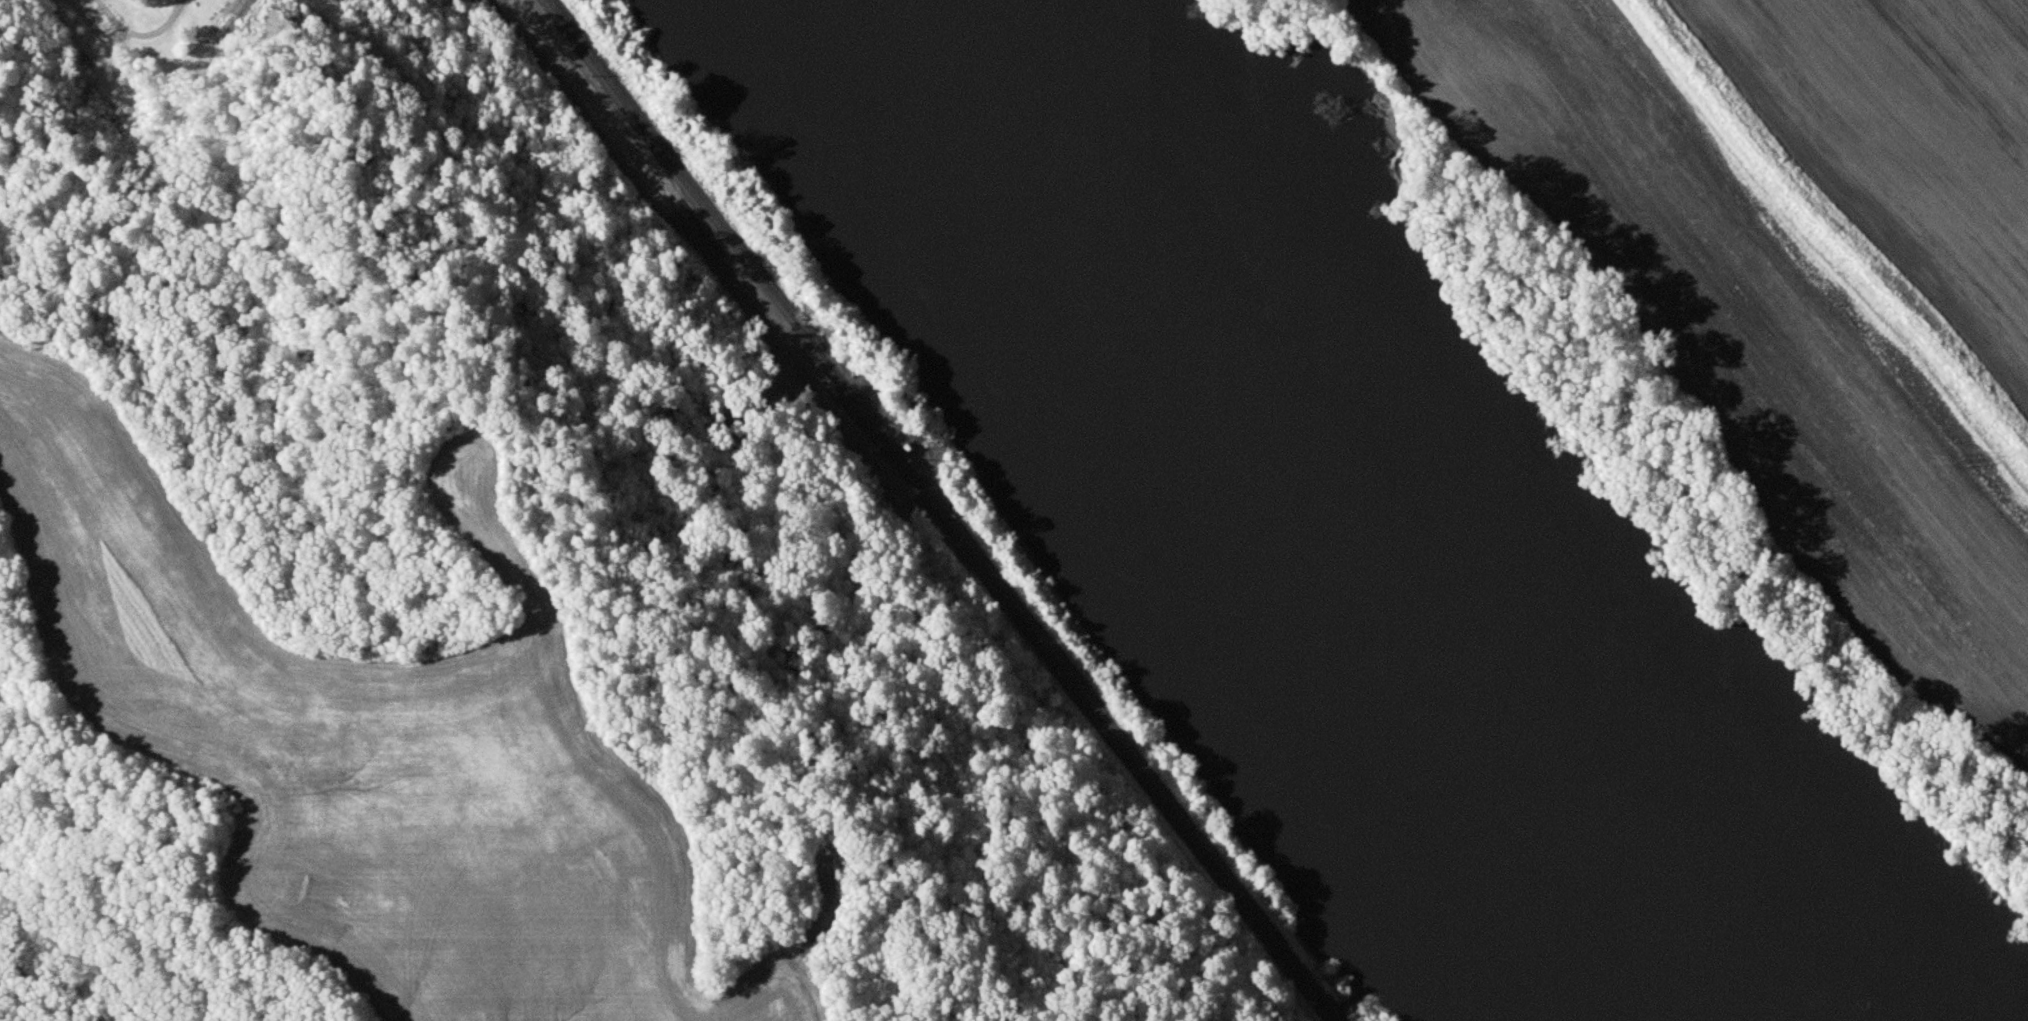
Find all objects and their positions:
river: (947, 32)
railway: (605, 136)
railway: (641, 168)
railway: (689, 213)
railway: (939, 512)
river: (1344, 547)

